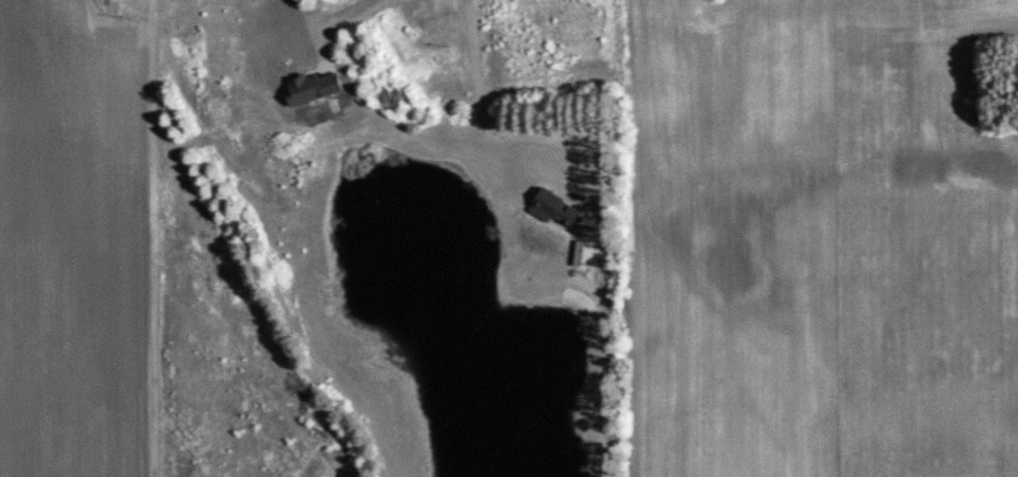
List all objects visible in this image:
road: (330, 23)
road: (509, 129)

